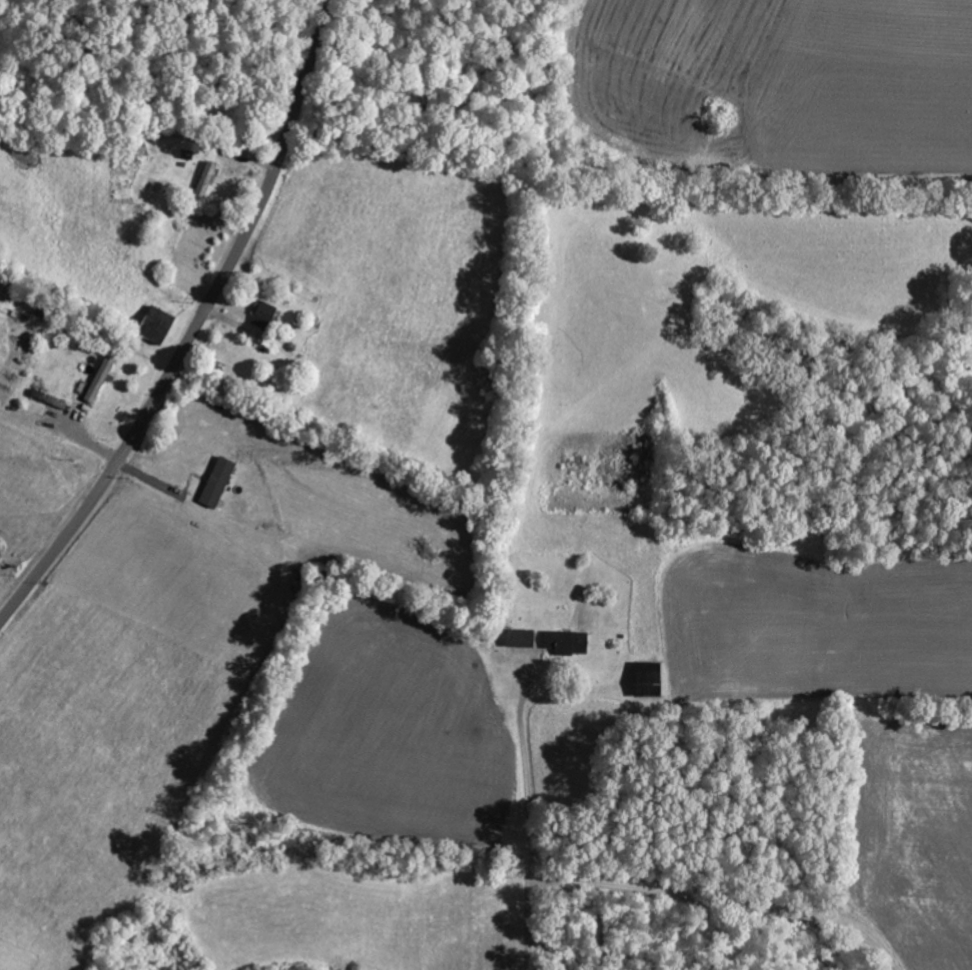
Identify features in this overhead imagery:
building: (160, 325)
road: (195, 328)
building: (525, 638)
building: (652, 674)
road: (528, 918)

